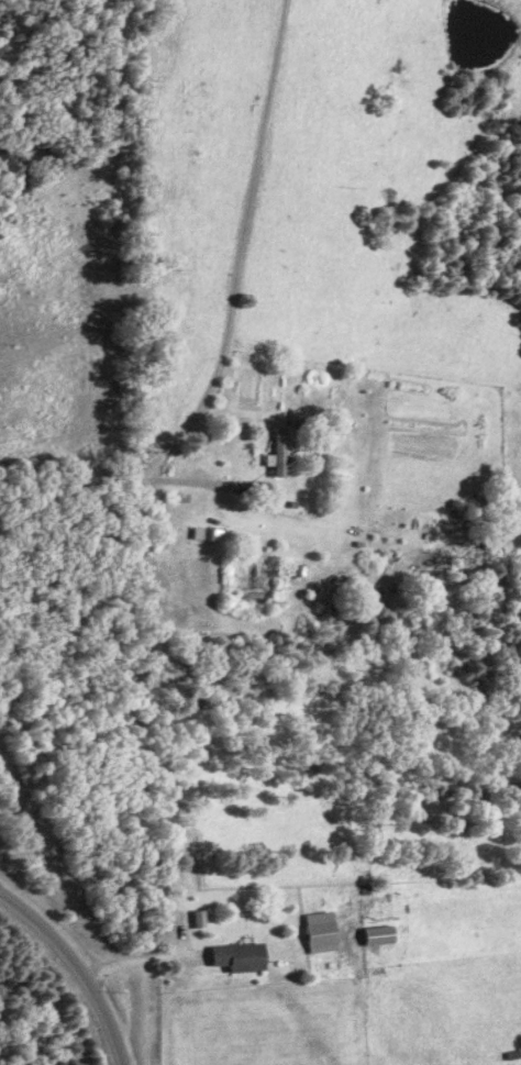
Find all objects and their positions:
road: (234, 252)
building: (281, 453)
road: (98, 548)
building: (325, 932)
building: (384, 935)
building: (245, 956)
road: (146, 961)
road: (75, 972)

